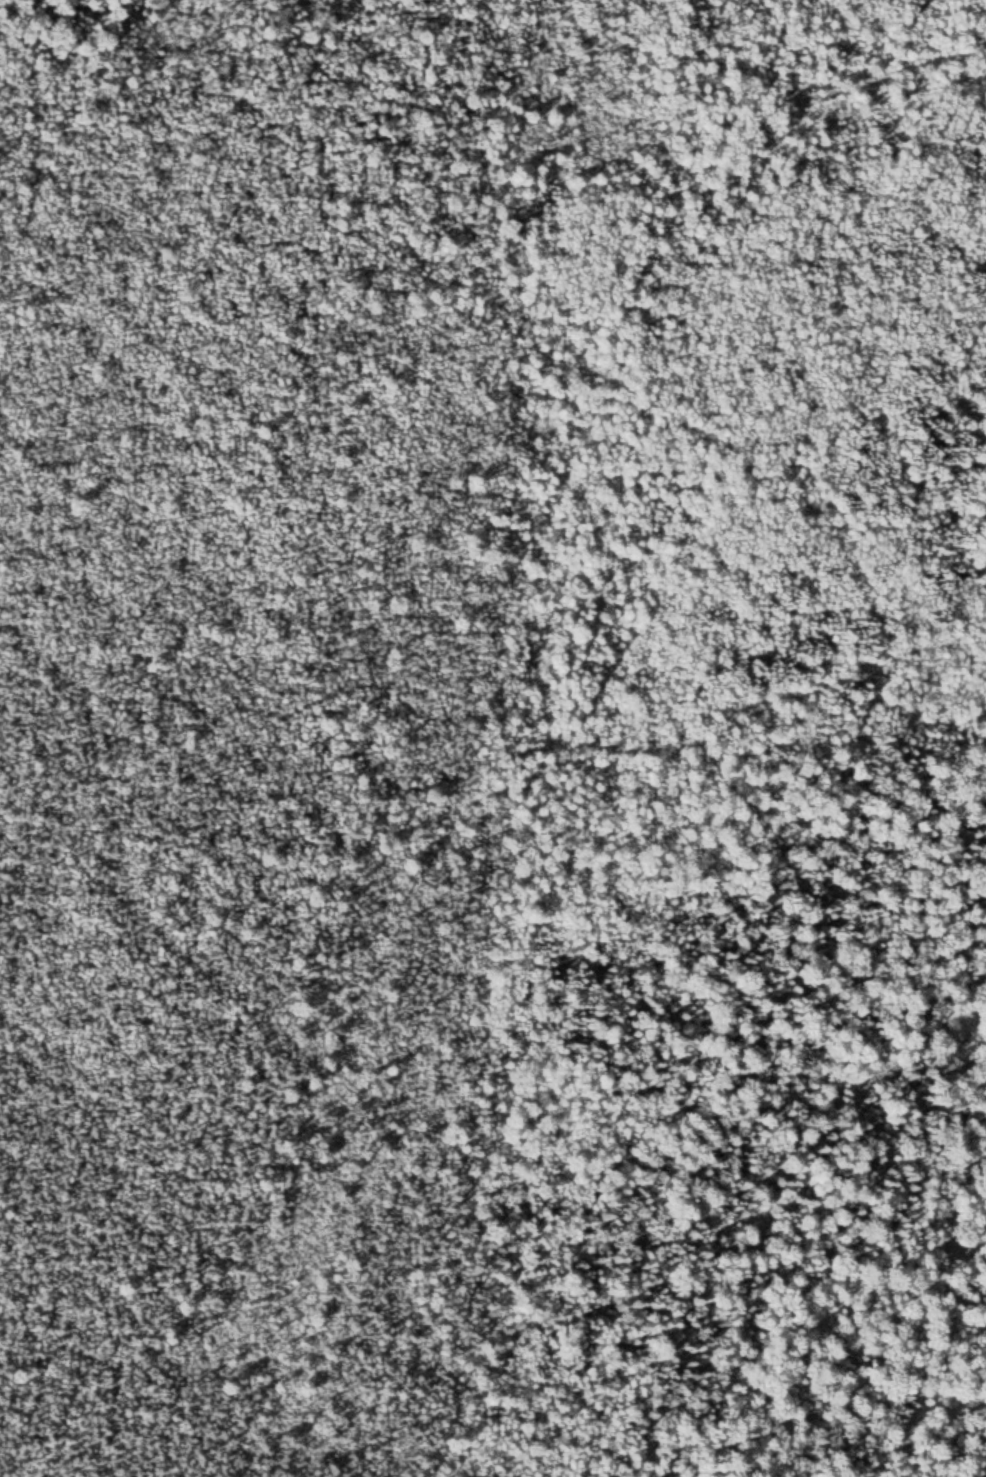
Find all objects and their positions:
road: (788, 1304)

